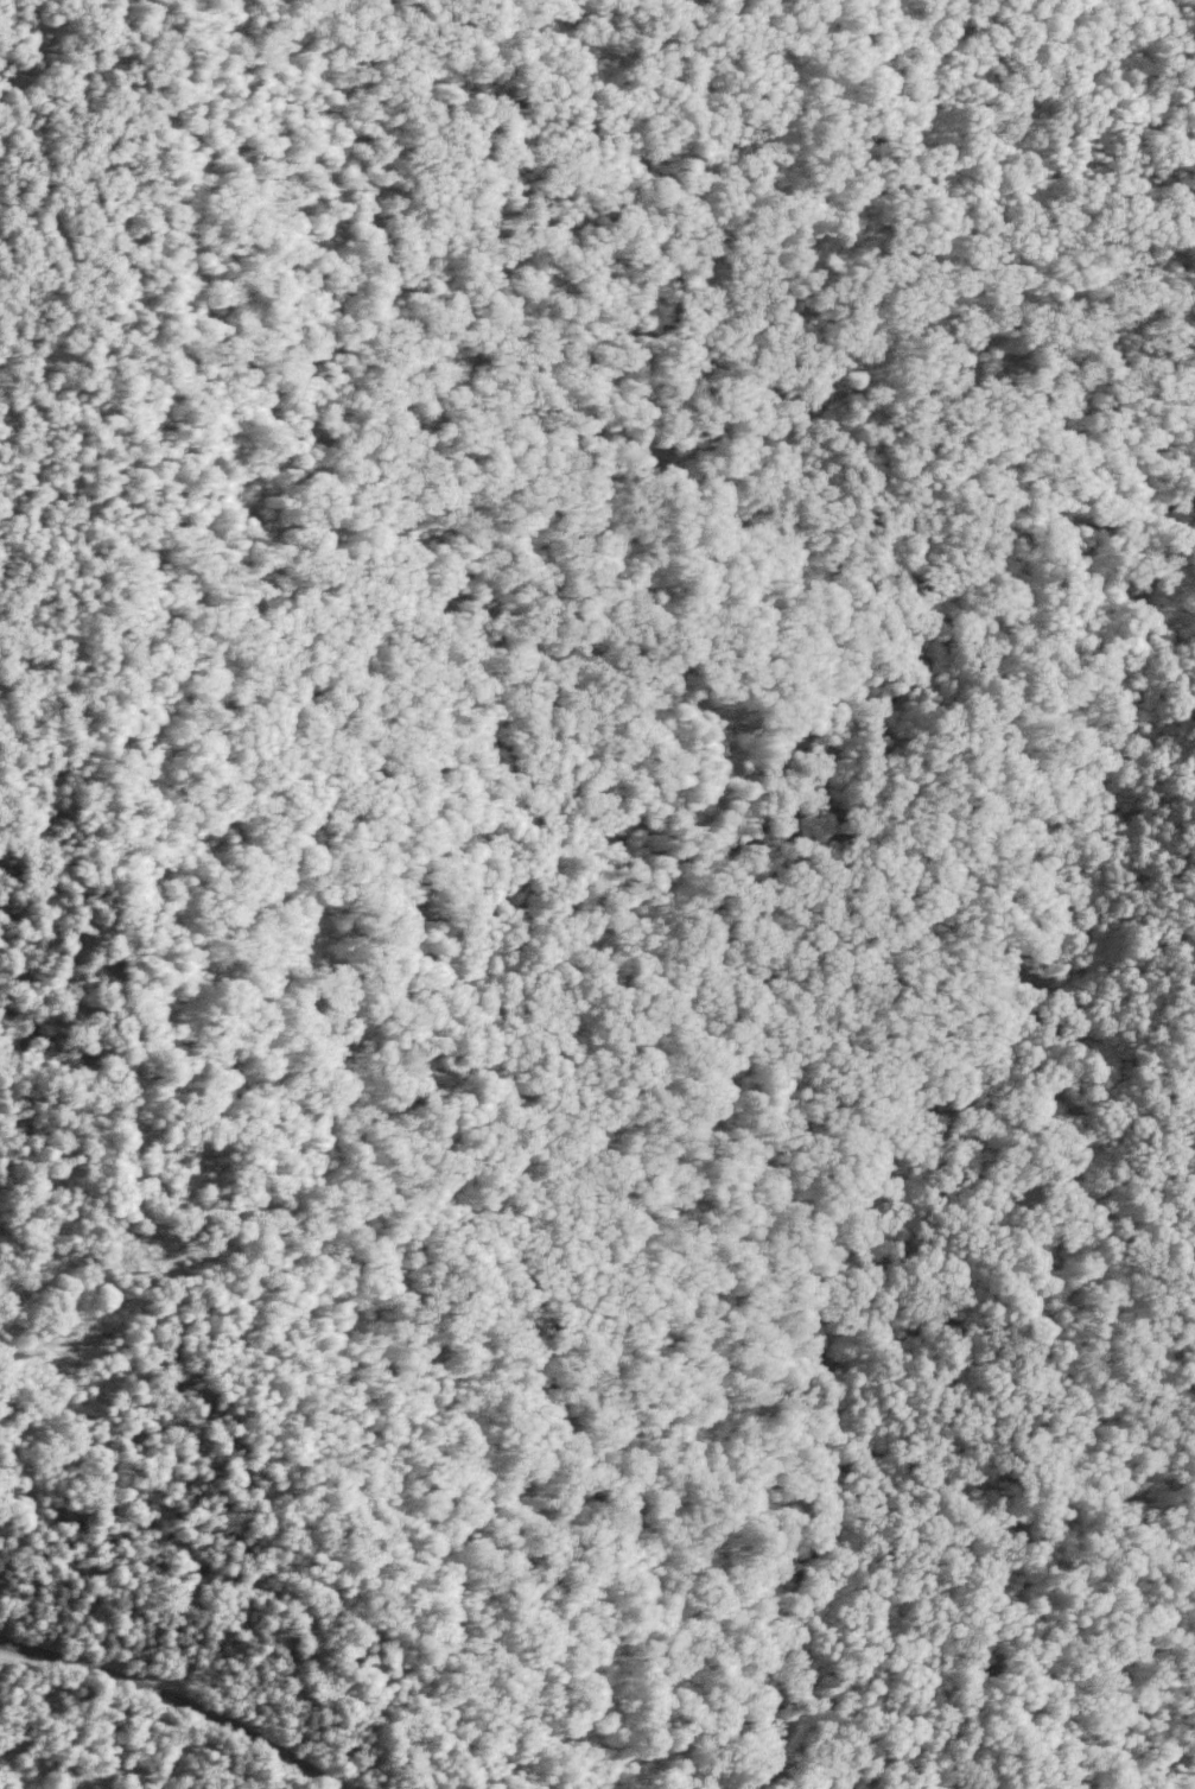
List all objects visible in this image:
road: (178, 1698)

